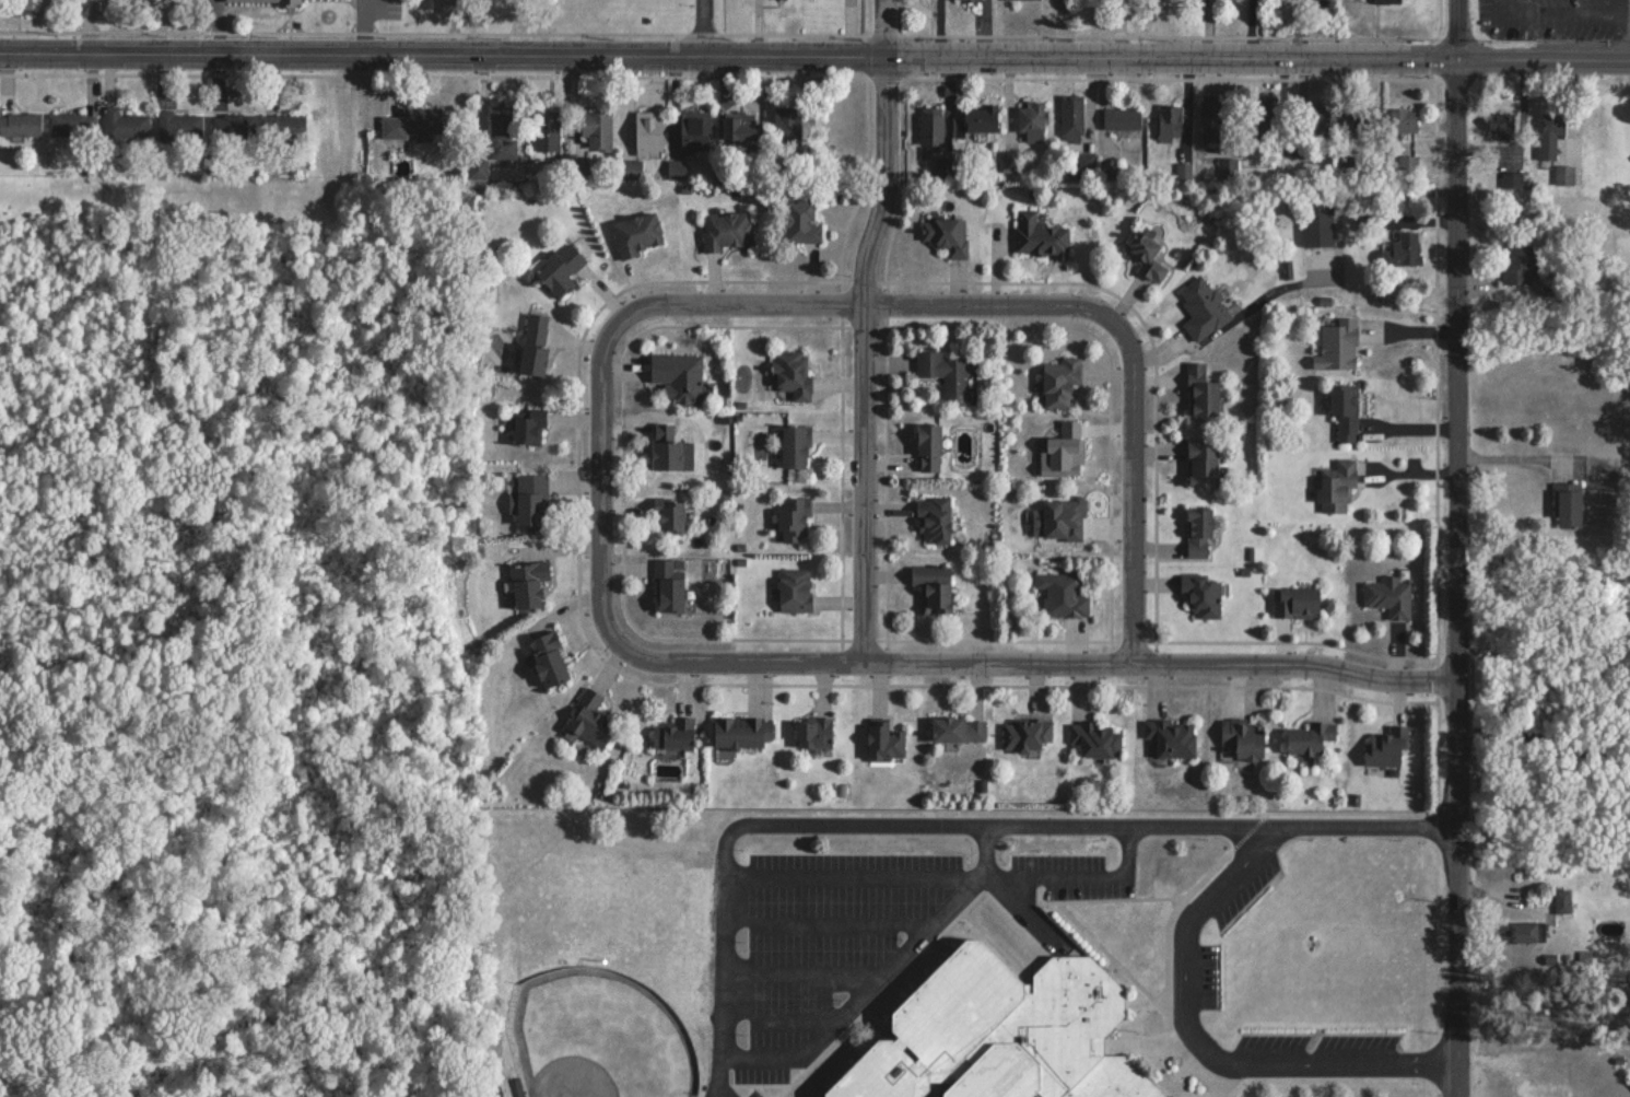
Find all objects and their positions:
building: (1393, 1)
building: (288, 3)
building: (452, 5)
road: (1568, 11)
road: (218, 24)
road: (372, 24)
road: (703, 26)
road: (1544, 51)
road: (729, 52)
building: (1264, 112)
building: (1210, 117)
building: (1072, 118)
building: (1122, 118)
building: (1329, 119)
building: (976, 120)
building: (1031, 121)
building: (1169, 121)
building: (1404, 121)
building: (20, 124)
building: (414, 124)
building: (72, 125)
building: (124, 125)
building: (179, 125)
building: (288, 125)
building: (786, 125)
building: (233, 126)
building: (1502, 126)
building: (739, 129)
building: (596, 130)
building: (931, 130)
building: (499, 131)
building: (693, 131)
building: (548, 132)
building: (647, 132)
building: (1551, 133)
building: (1565, 175)
building: (1513, 180)
building: (1320, 220)
building: (800, 222)
building: (726, 231)
building: (637, 233)
building: (947, 235)
building: (1041, 236)
building: (1409, 248)
building: (1146, 256)
building: (1517, 264)
building: (560, 268)
road: (1256, 302)
road: (872, 303)
building: (1204, 307)
road: (863, 330)
building: (533, 343)
building: (1338, 345)
building: (791, 373)
building: (946, 375)
building: (678, 376)
building: (1060, 382)
building: (1201, 392)
building: (1346, 411)
building: (528, 430)
building: (666, 446)
building: (795, 446)
building: (928, 447)
road: (1520, 457)
building: (1203, 463)
road: (600, 481)
road: (1137, 486)
building: (1338, 487)
building: (531, 501)
building: (1569, 504)
building: (669, 517)
building: (794, 520)
building: (934, 520)
building: (1063, 520)
building: (1199, 533)
road: (1459, 548)
building: (528, 583)
building: (934, 585)
building: (669, 586)
building: (795, 590)
building: (1063, 594)
building: (1203, 595)
building: (1391, 596)
building: (1297, 603)
building: (548, 660)
road: (1037, 666)
building: (591, 720)
building: (958, 730)
building: (741, 733)
building: (813, 733)
building: (675, 734)
building: (1027, 734)
building: (1172, 737)
building: (1244, 738)
building: (1310, 738)
building: (1098, 739)
building: (884, 742)
building: (1386, 746)
road: (1545, 746)
road: (960, 824)
road: (987, 850)
road: (1128, 850)
road: (926, 875)
building: (1563, 900)
road: (1023, 911)
road: (825, 924)
building: (1524, 931)
road: (802, 973)
road: (861, 996)
road: (778, 1020)
building: (1000, 1032)
park: (600, 1036)
road: (1200, 1043)
road: (722, 1094)

